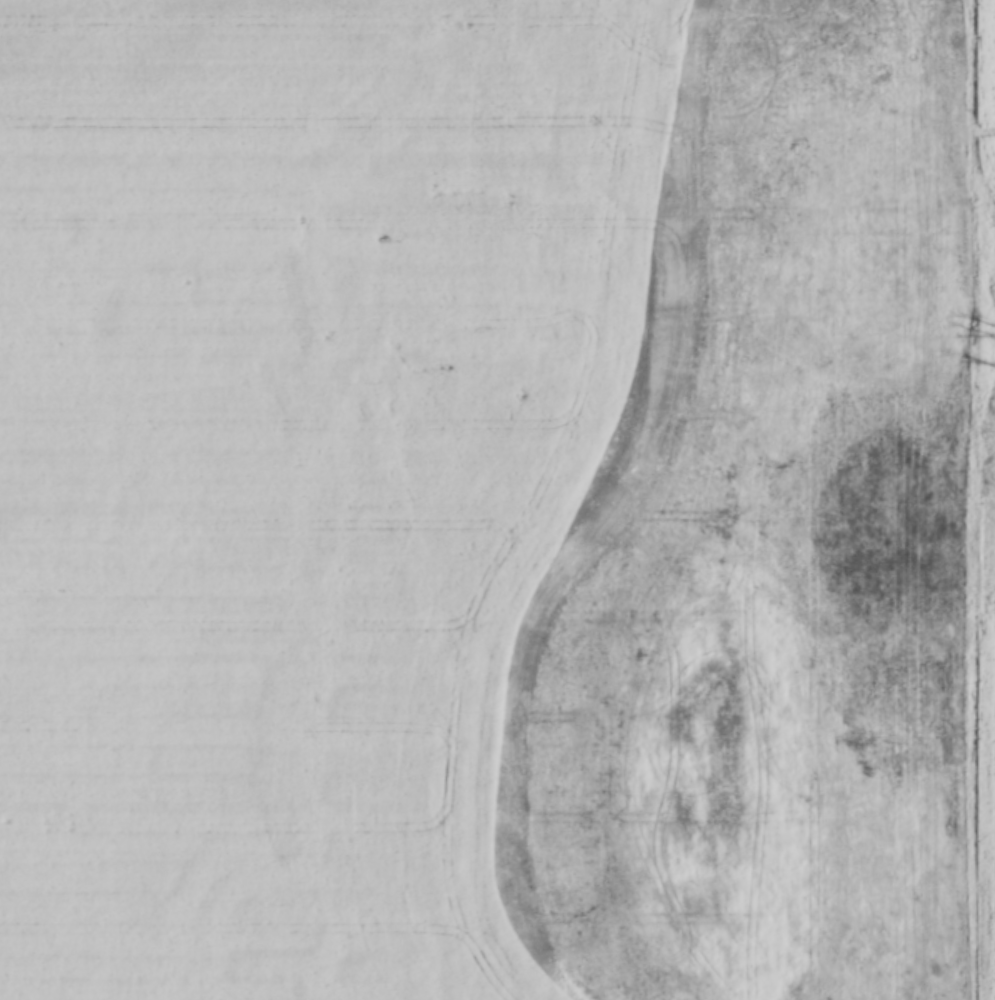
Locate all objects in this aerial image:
road: (986, 500)

